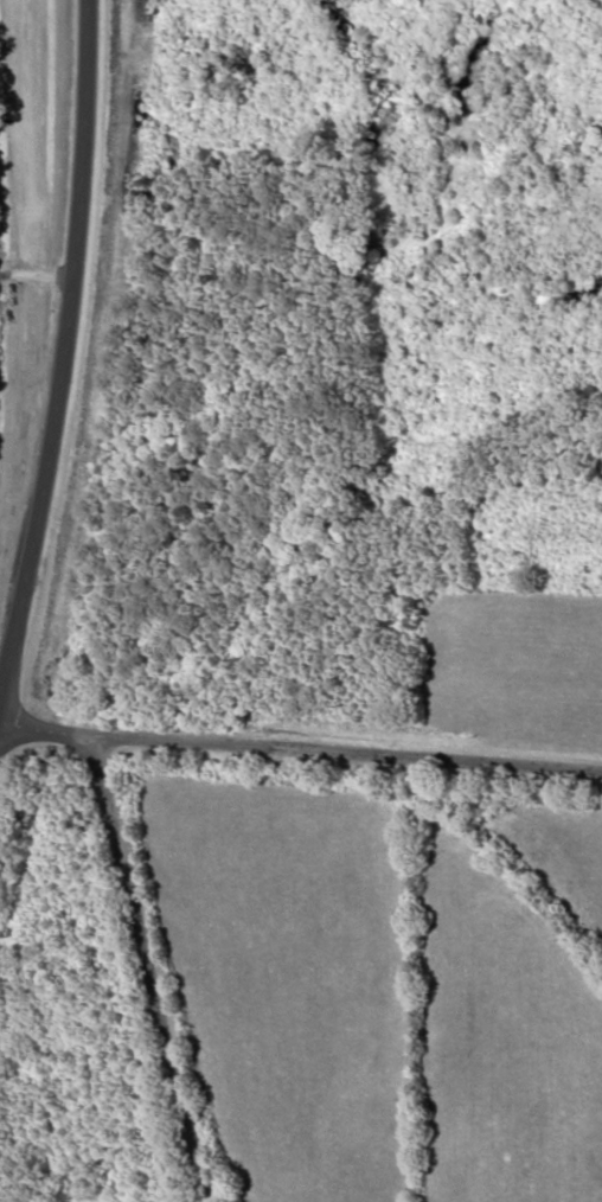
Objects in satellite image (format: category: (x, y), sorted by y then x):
road: (28, 376)
road: (301, 760)
road: (153, 973)

